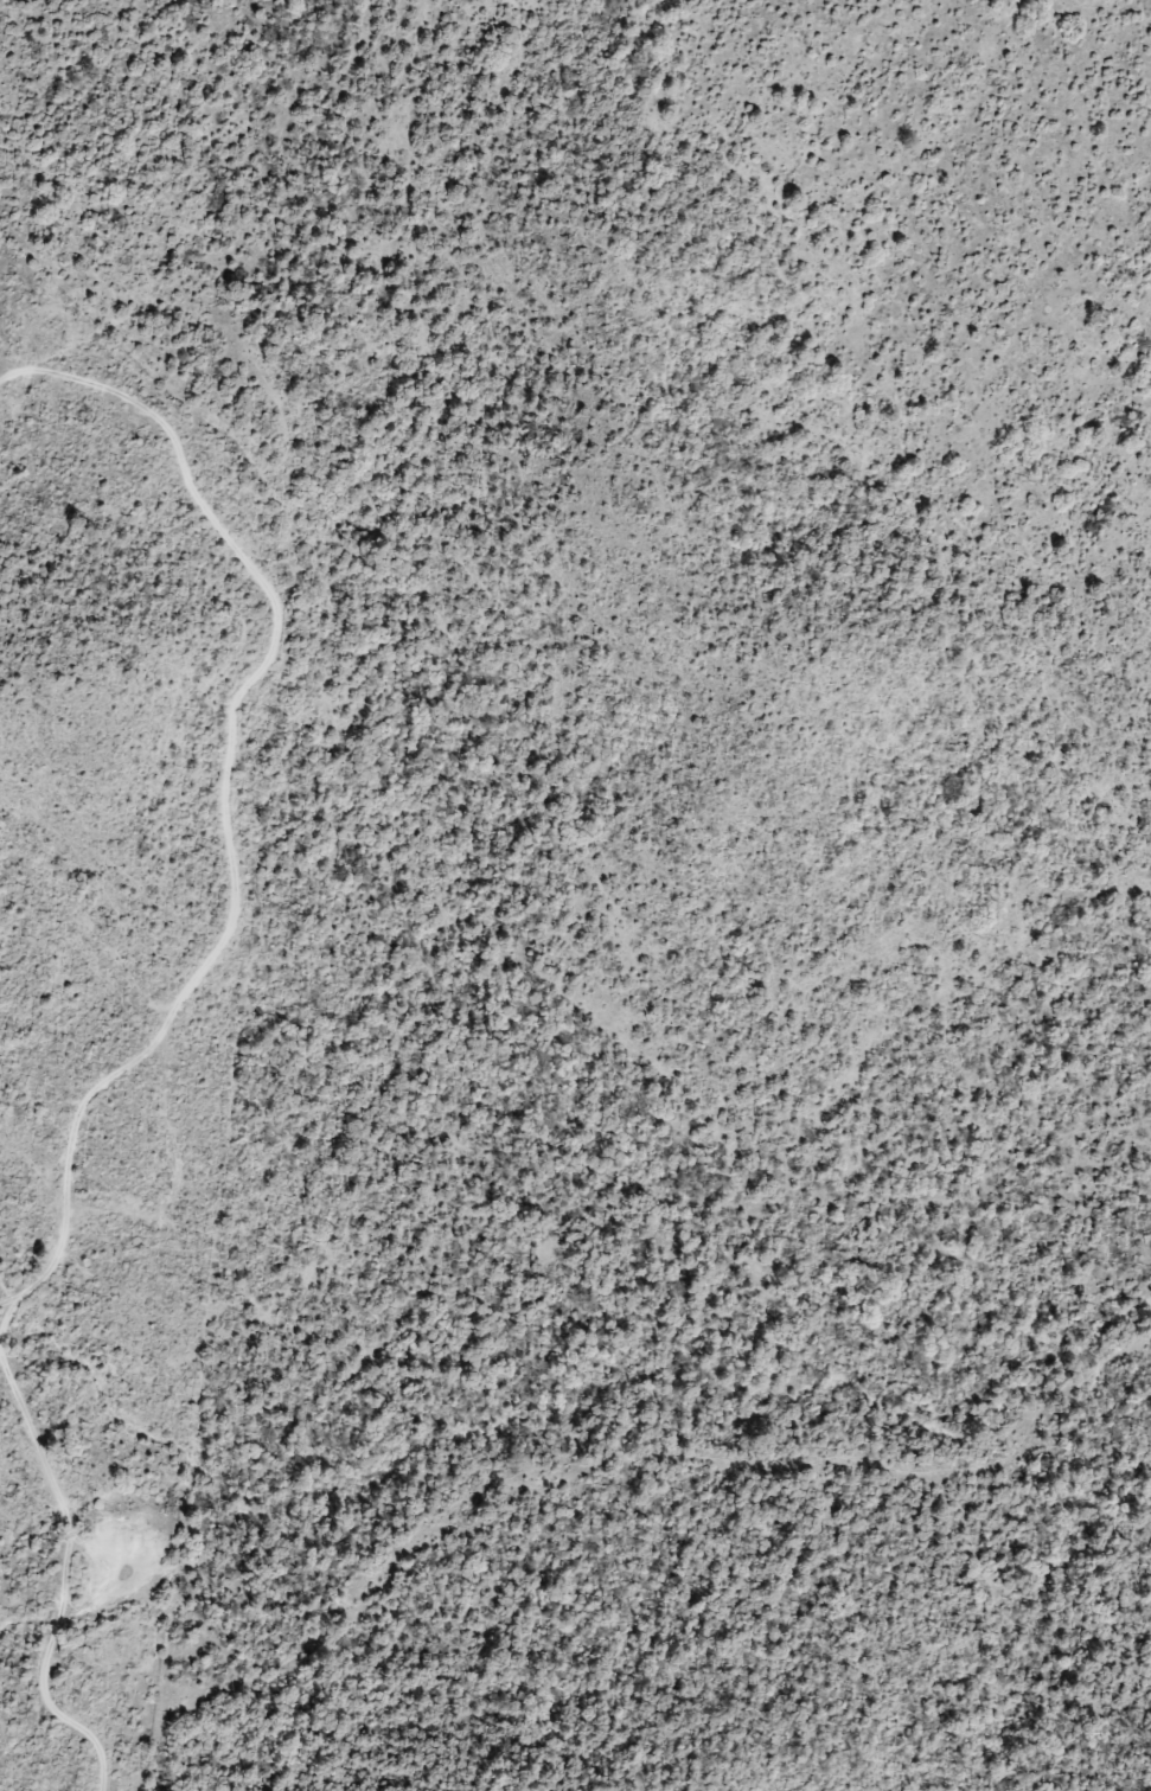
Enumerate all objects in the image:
road: (161, 1062)

